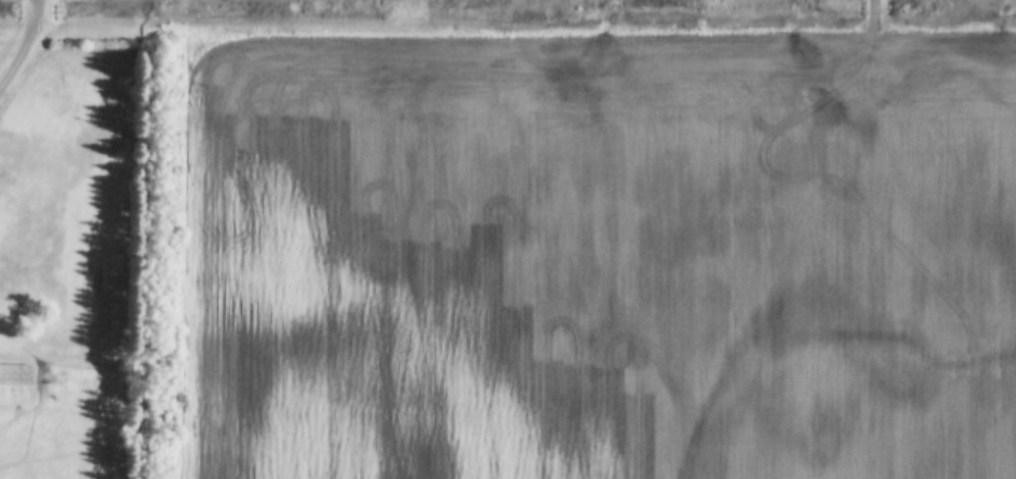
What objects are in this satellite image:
road: (26, 48)
building: (16, 386)

